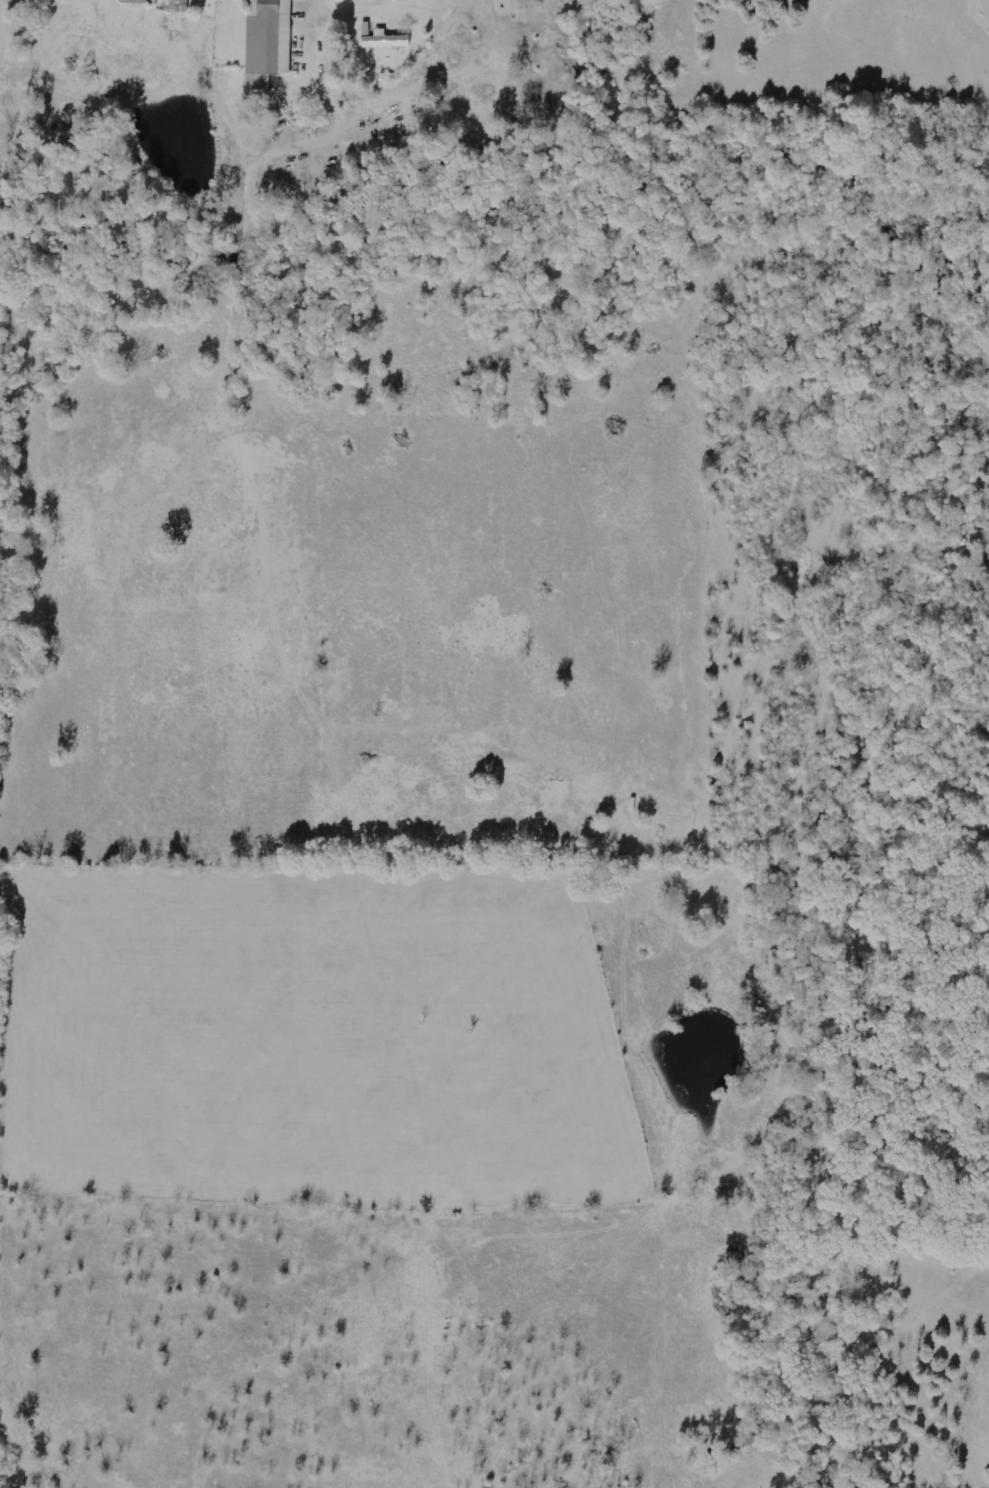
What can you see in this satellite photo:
building: (384, 39)
building: (267, 41)

